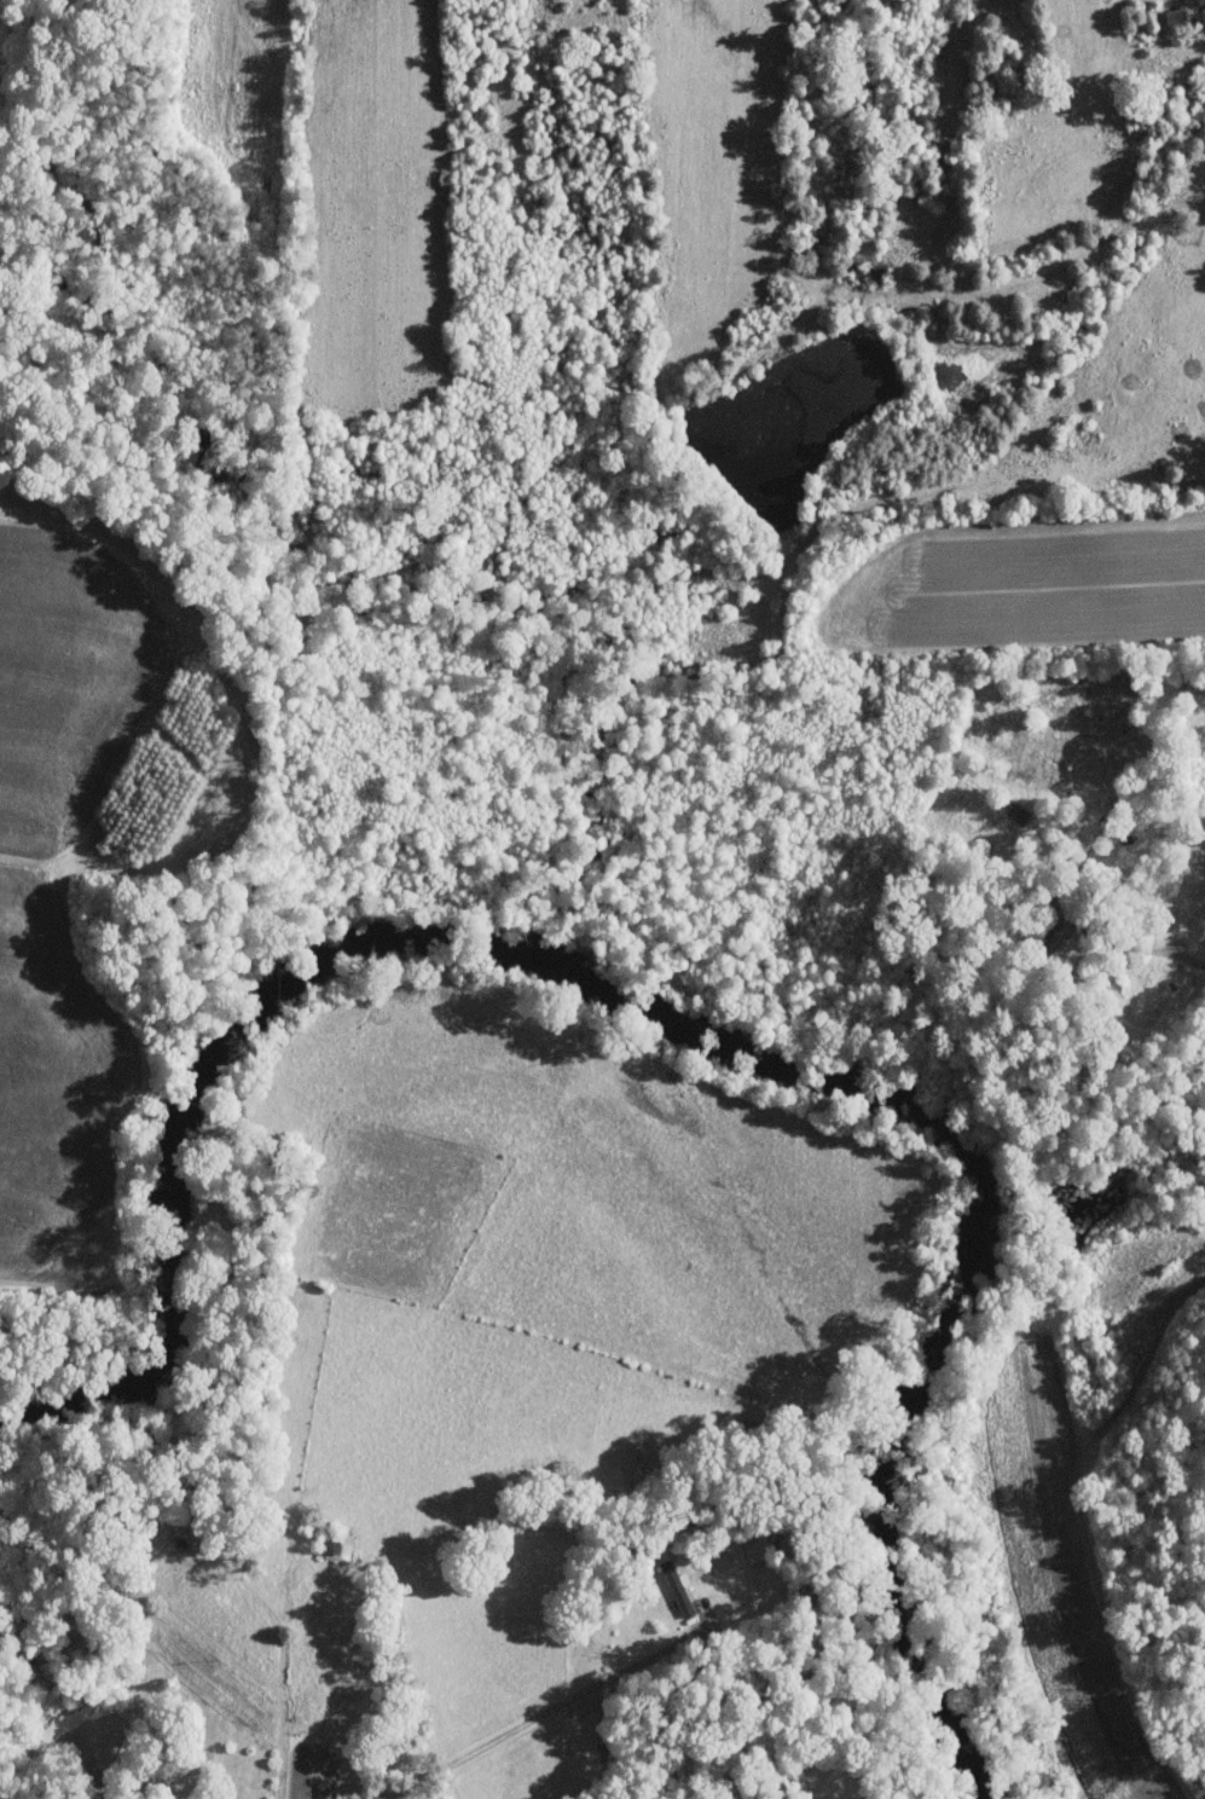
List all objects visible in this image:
road: (527, 1723)
road: (282, 1751)

